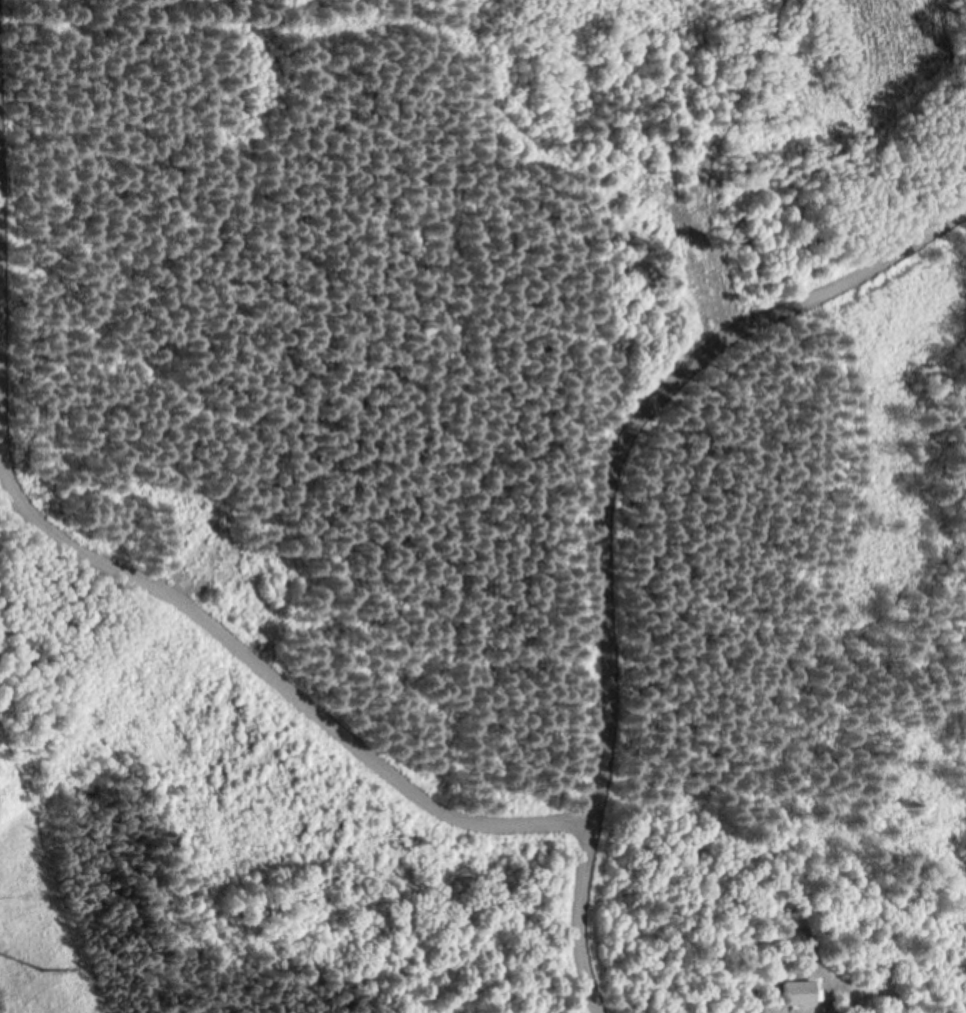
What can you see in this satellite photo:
road: (616, 526)
road: (92, 559)
power tower: (43, 970)
building: (798, 995)

